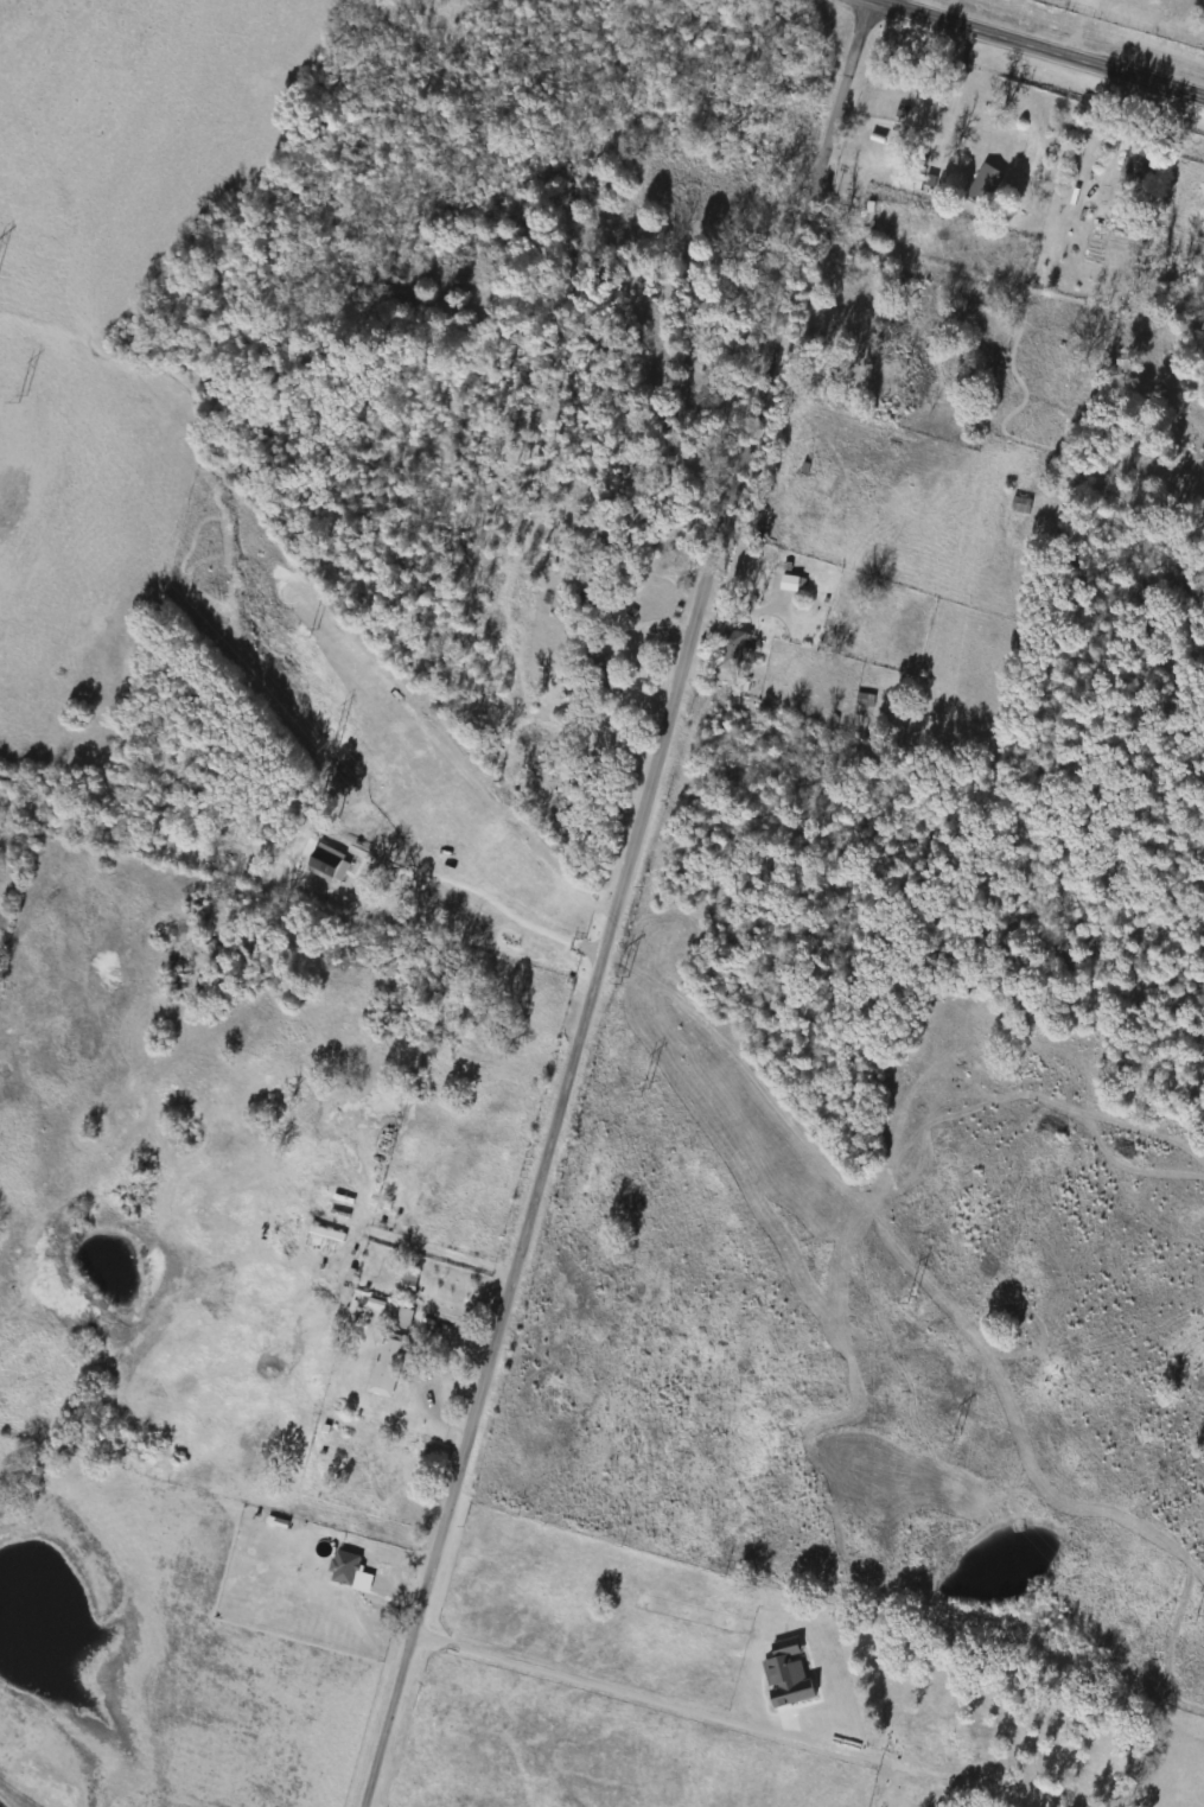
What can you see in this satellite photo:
road: (1040, 47)
road: (956, 89)
building: (1138, 163)
building: (986, 184)
power tower: (20, 400)
building: (1020, 504)
building: (788, 583)
power tower: (312, 632)
building: (734, 647)
building: (603, 670)
building: (862, 699)
power tower: (331, 745)
road: (613, 903)
power tower: (622, 979)
power tower: (639, 1092)
power tower: (912, 1302)
building: (389, 1362)
power tower: (951, 1439)
power tower: (1198, 1620)
road: (599, 1681)

